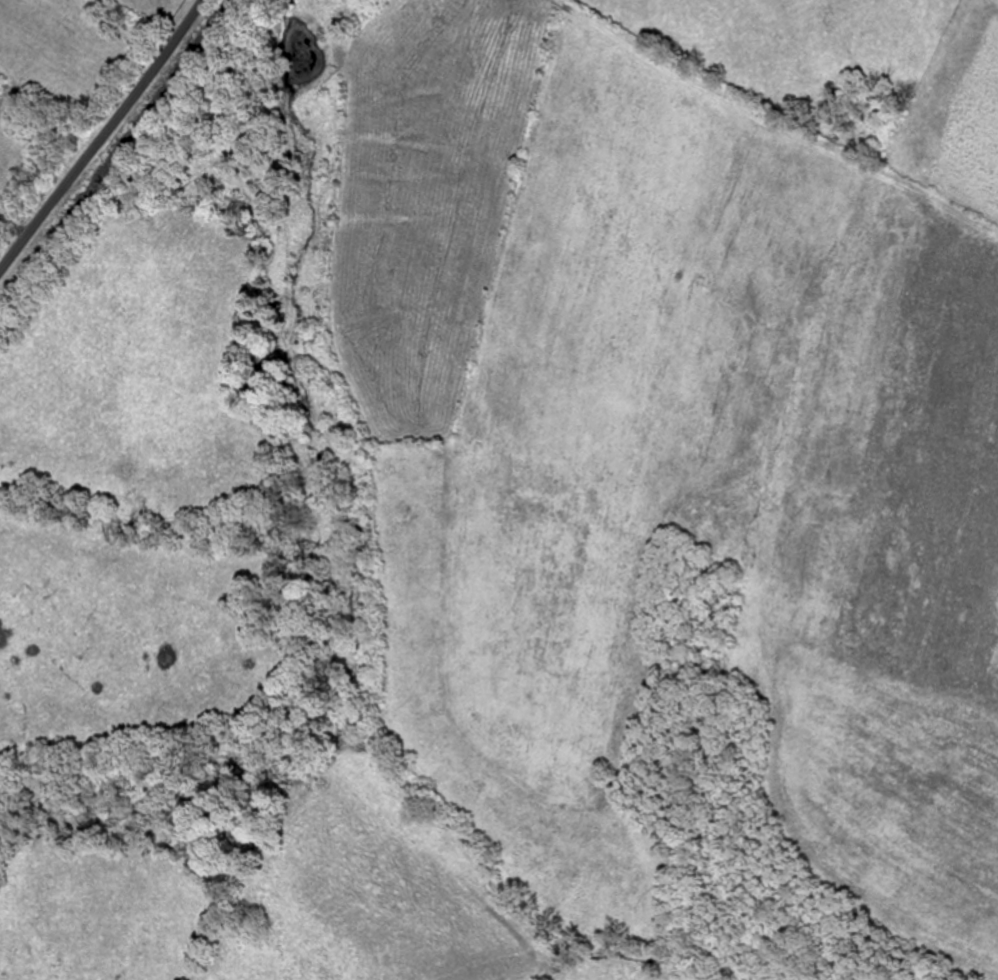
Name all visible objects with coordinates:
road: (102, 136)
railway: (114, 152)

